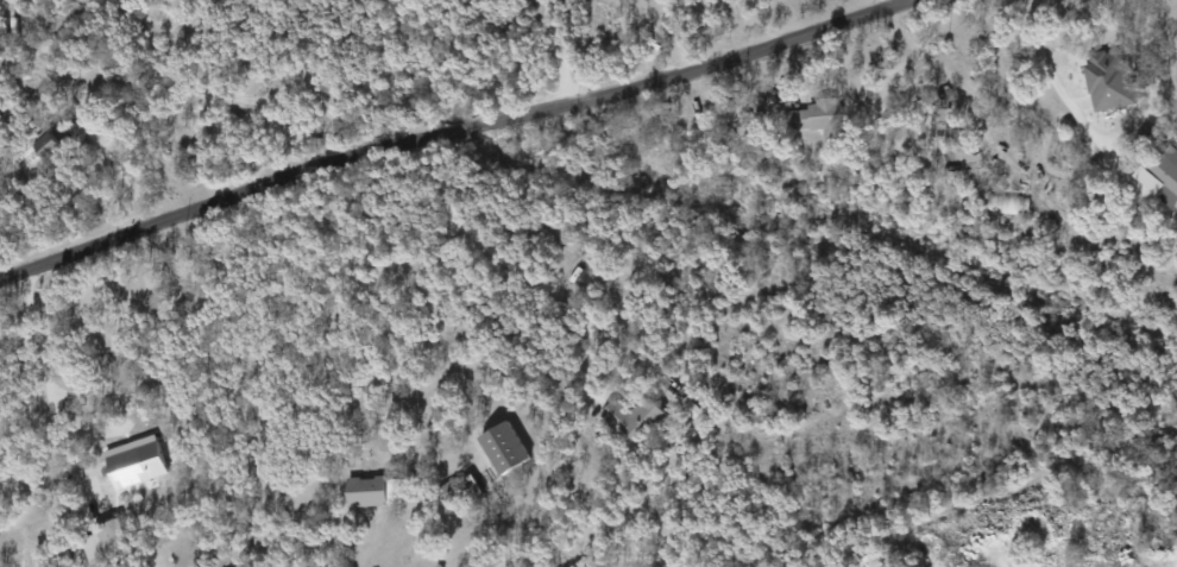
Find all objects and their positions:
road: (883, 2)
road: (663, 27)
road: (555, 51)
road: (1038, 52)
building: (1108, 78)
road: (254, 97)
building: (817, 116)
road: (446, 133)
building: (52, 150)
road: (121, 170)
building: (1165, 175)
building: (1006, 202)
road: (491, 262)
road: (45, 372)
building: (632, 417)
building: (503, 447)
building: (134, 461)
building: (365, 491)
quarry: (1050, 521)
building: (109, 538)

